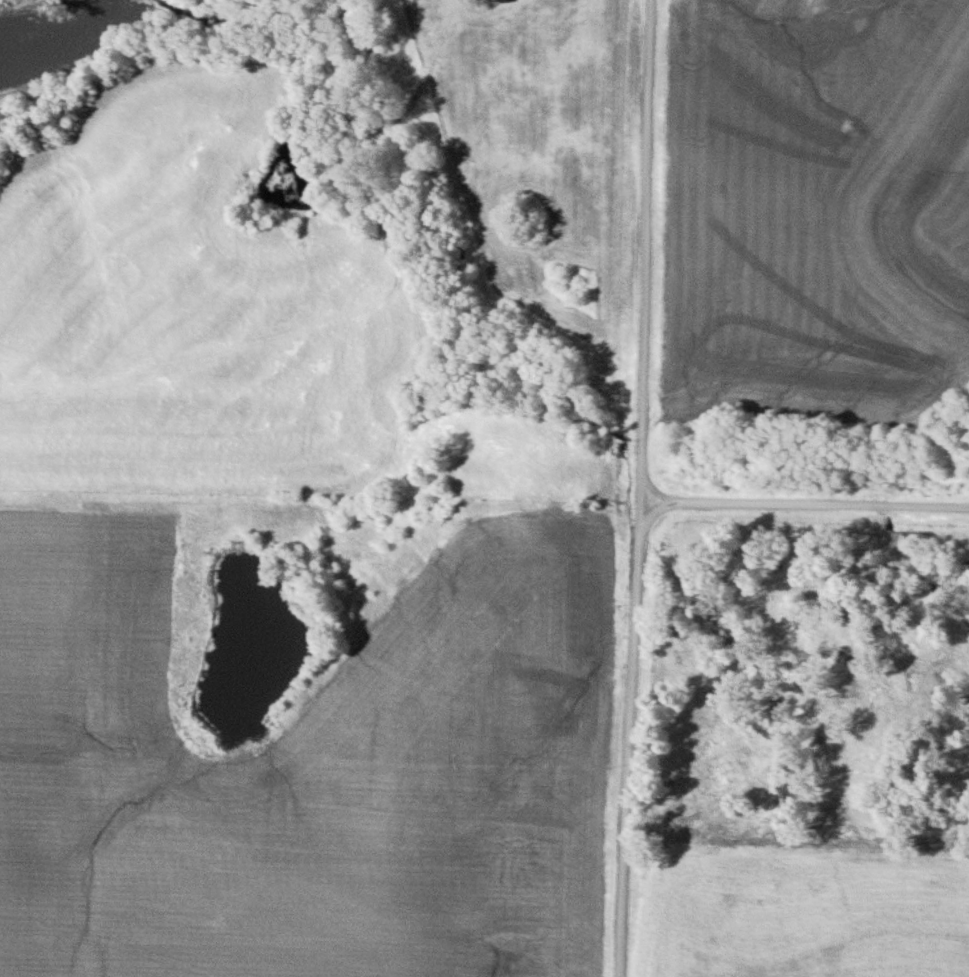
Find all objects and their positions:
building: (505, 0)
river: (60, 43)
road: (799, 480)
road: (628, 488)

